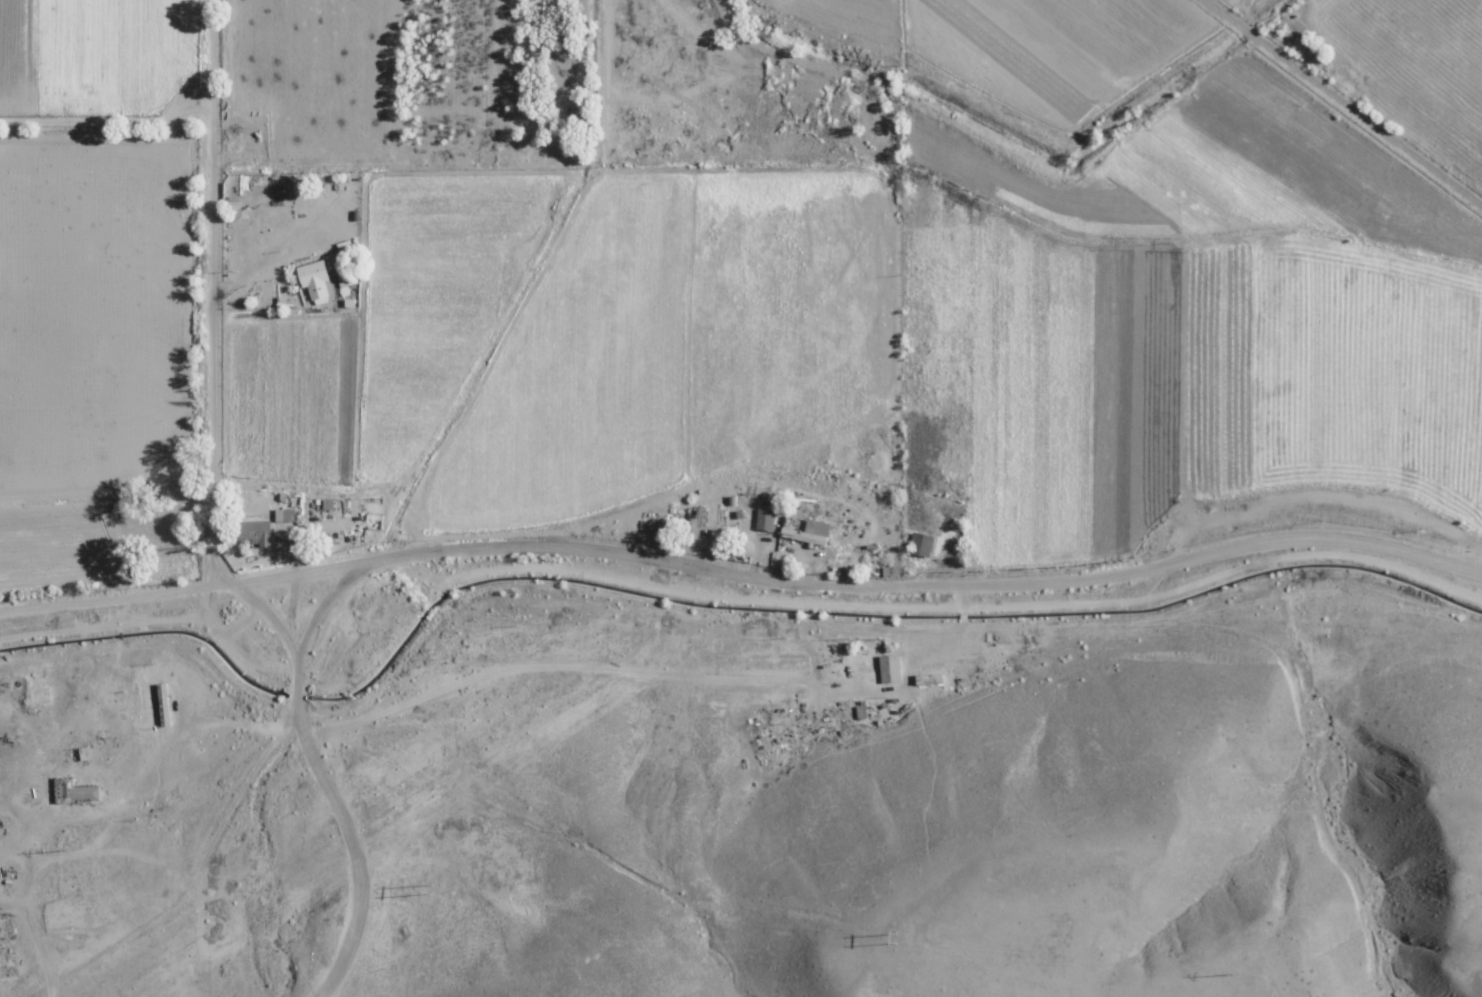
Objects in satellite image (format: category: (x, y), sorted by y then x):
road: (1345, 101)
road: (109, 120)
road: (278, 240)
building: (315, 280)
building: (347, 282)
road: (217, 292)
building: (715, 519)
building: (765, 519)
building: (255, 531)
building: (809, 533)
building: (921, 544)
road: (923, 585)
road: (180, 589)
building: (890, 669)
building: (929, 679)
building: (41, 695)
building: (162, 704)
building: (79, 755)
road: (250, 783)
building: (75, 792)

